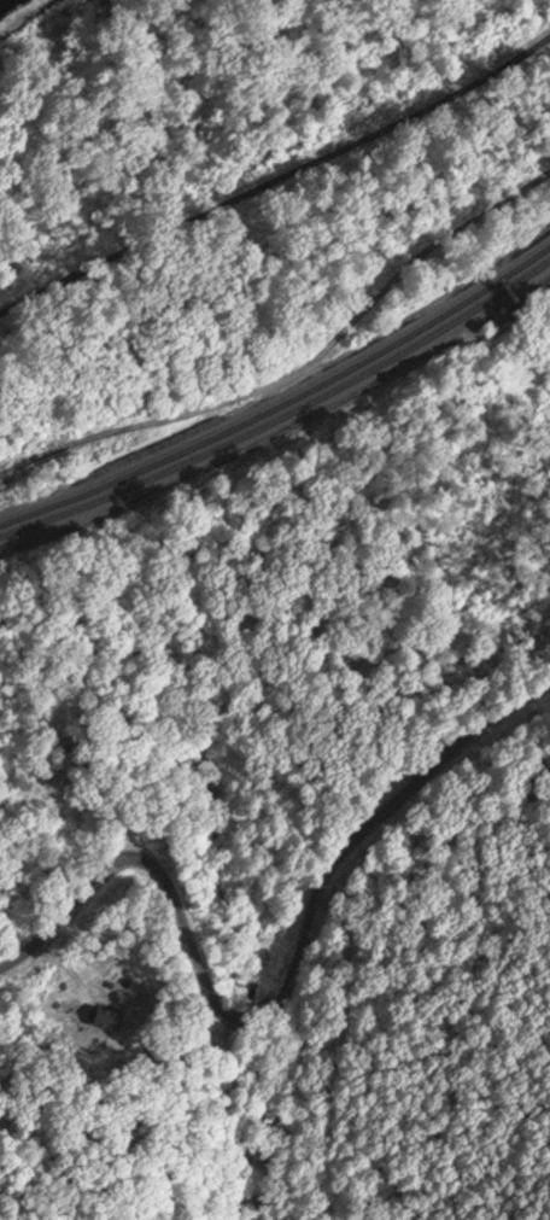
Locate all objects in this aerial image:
road: (277, 176)
railway: (283, 404)
railway: (283, 418)
road: (432, 770)
building: (62, 780)
road: (189, 945)
road: (233, 1120)

